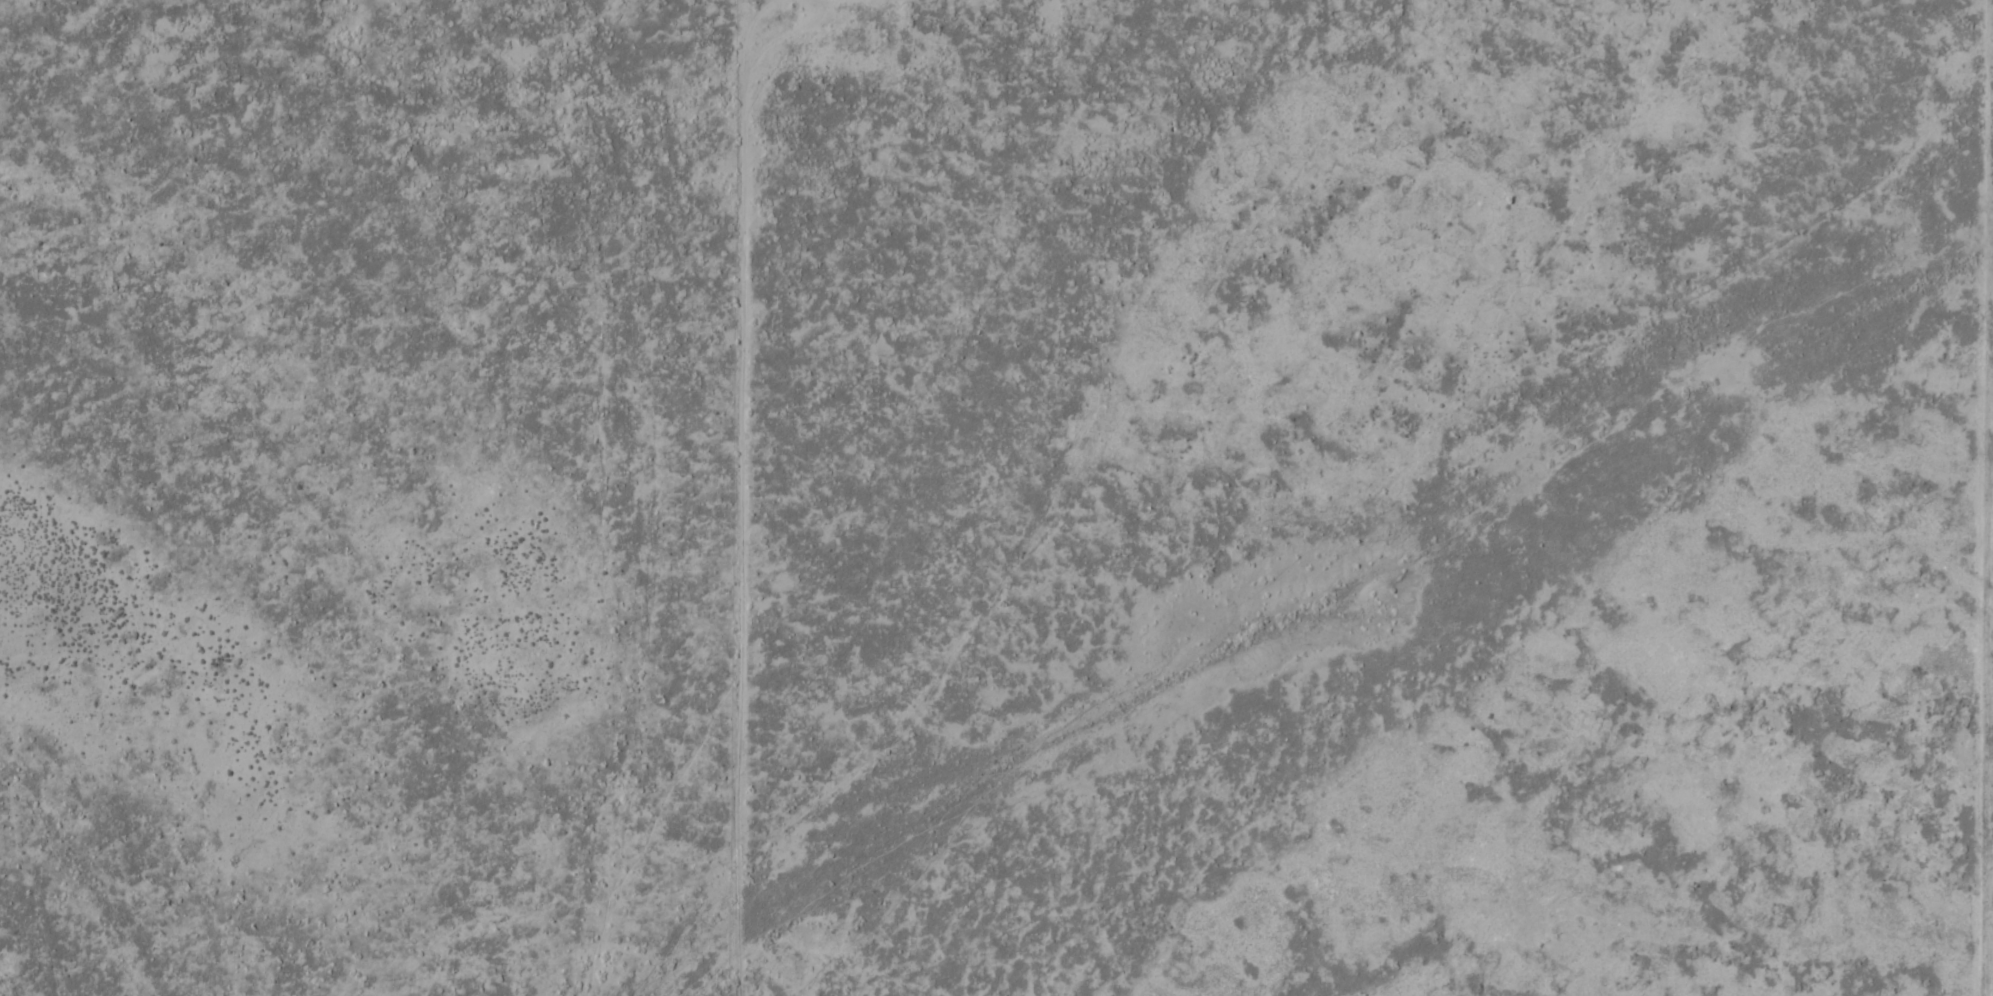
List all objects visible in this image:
road: (746, 497)

